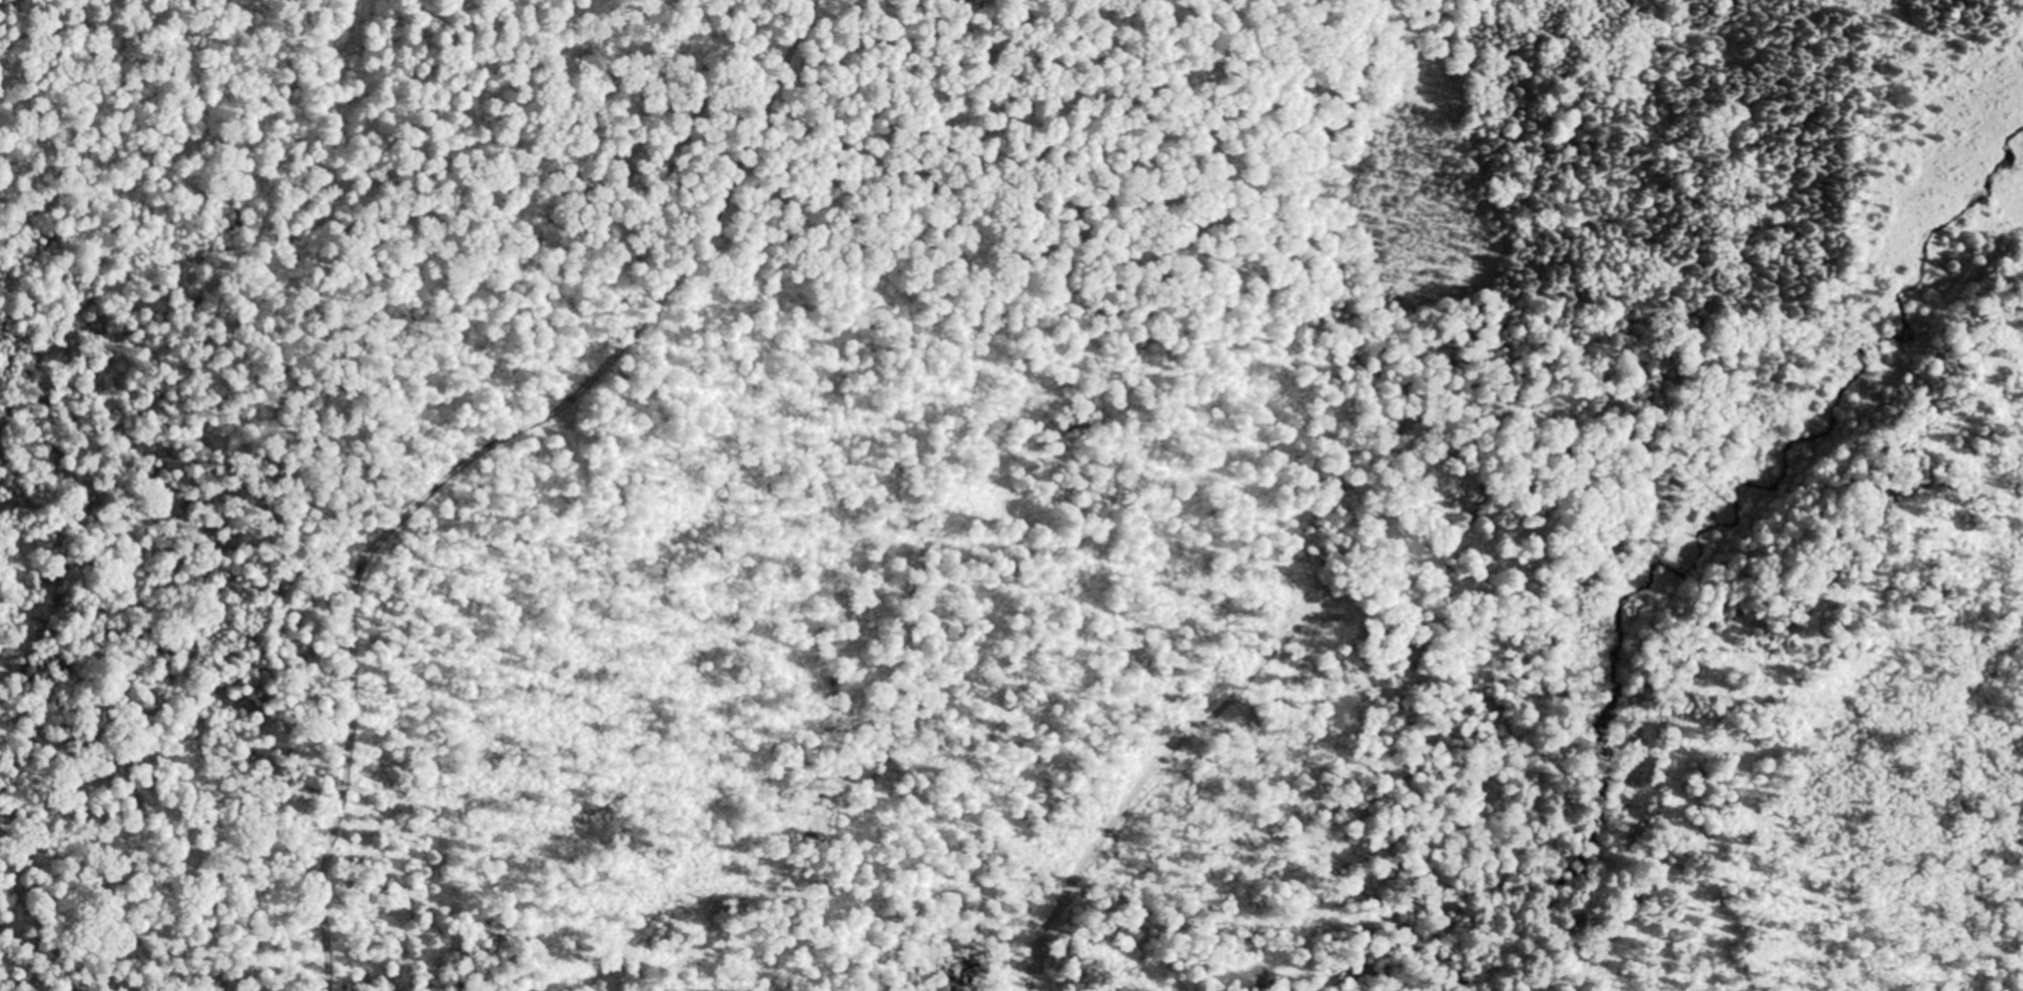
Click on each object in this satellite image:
road: (468, 178)
road: (412, 550)

